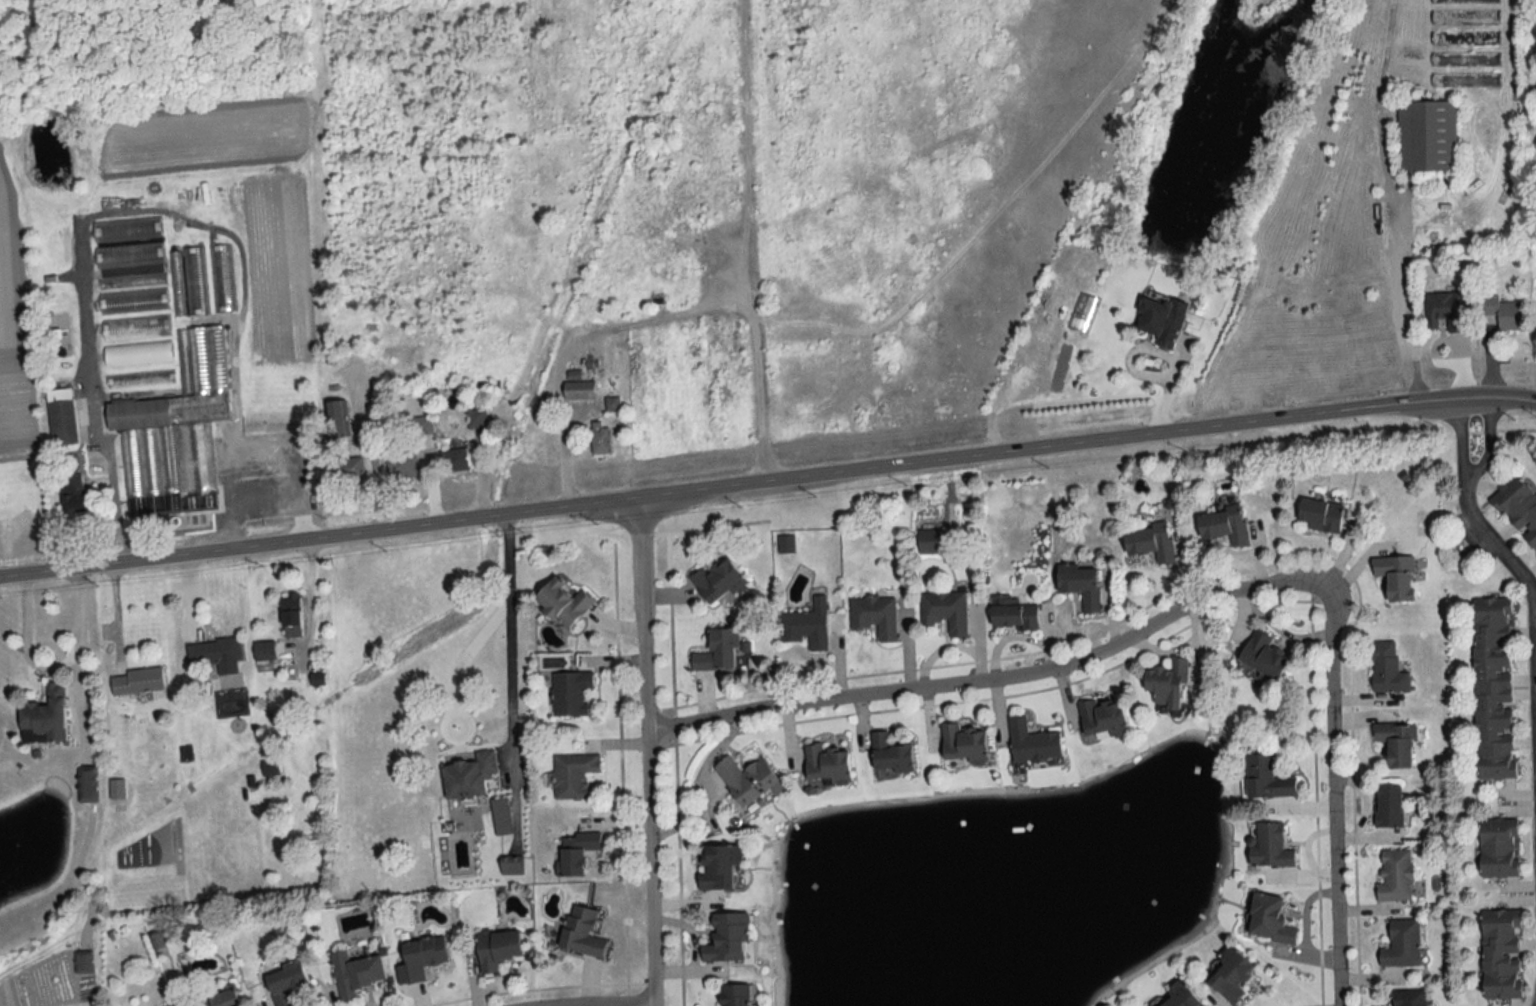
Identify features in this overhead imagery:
building: (1464, 1)
building: (1465, 17)
building: (1465, 38)
building: (1465, 59)
building: (1465, 80)
building: (1426, 136)
road: (1389, 204)
building: (126, 229)
building: (128, 255)
building: (222, 279)
building: (195, 281)
building: (131, 282)
building: (176, 284)
building: (133, 301)
building: (1447, 311)
building: (1502, 313)
building: (1083, 314)
building: (1161, 321)
crop: (14, 326)
building: (135, 328)
building: (138, 351)
building: (140, 379)
road: (1168, 386)
building: (578, 390)
road: (1533, 402)
road: (1533, 402)
building: (611, 404)
road: (558, 411)
building: (476, 418)
building: (337, 420)
building: (62, 423)
building: (423, 425)
building: (175, 431)
building: (599, 441)
road: (1461, 441)
road: (1484, 443)
building: (454, 462)
building: (401, 466)
building: (347, 471)
road: (112, 484)
road: (764, 487)
building: (77, 495)
building: (1519, 507)
building: (1319, 515)
building: (1223, 525)
building: (928, 541)
building: (1150, 541)
building: (785, 544)
road: (1518, 574)
building: (1396, 576)
building: (719, 580)
building: (1081, 584)
building: (563, 602)
building: (945, 611)
building: (1012, 612)
building: (290, 614)
building: (874, 616)
road: (116, 617)
building: (806, 625)
road: (24, 646)
building: (214, 651)
building: (717, 651)
building: (264, 656)
road: (74, 657)
building: (1263, 658)
road: (509, 666)
building: (1386, 668)
road: (994, 681)
building: (137, 682)
building: (1166, 682)
building: (1492, 688)
building: (570, 693)
building: (44, 716)
building: (1101, 717)
building: (1031, 743)
building: (1396, 743)
building: (963, 744)
road: (646, 754)
building: (889, 754)
building: (825, 764)
building: (269, 767)
building: (573, 775)
building: (469, 776)
building: (1266, 777)
building: (745, 779)
building: (87, 786)
building: (116, 789)
road: (1334, 800)
building: (1388, 805)
building: (1267, 846)
building: (1498, 847)
building: (576, 852)
building: (718, 866)
building: (1394, 875)
building: (1269, 918)
building: (580, 931)
building: (725, 938)
building: (1401, 944)
building: (497, 948)
building: (1500, 954)
building: (420, 958)
building: (83, 962)
building: (355, 973)
building: (1229, 975)
building: (286, 981)
building: (733, 995)
building: (1408, 998)
building: (220, 999)

